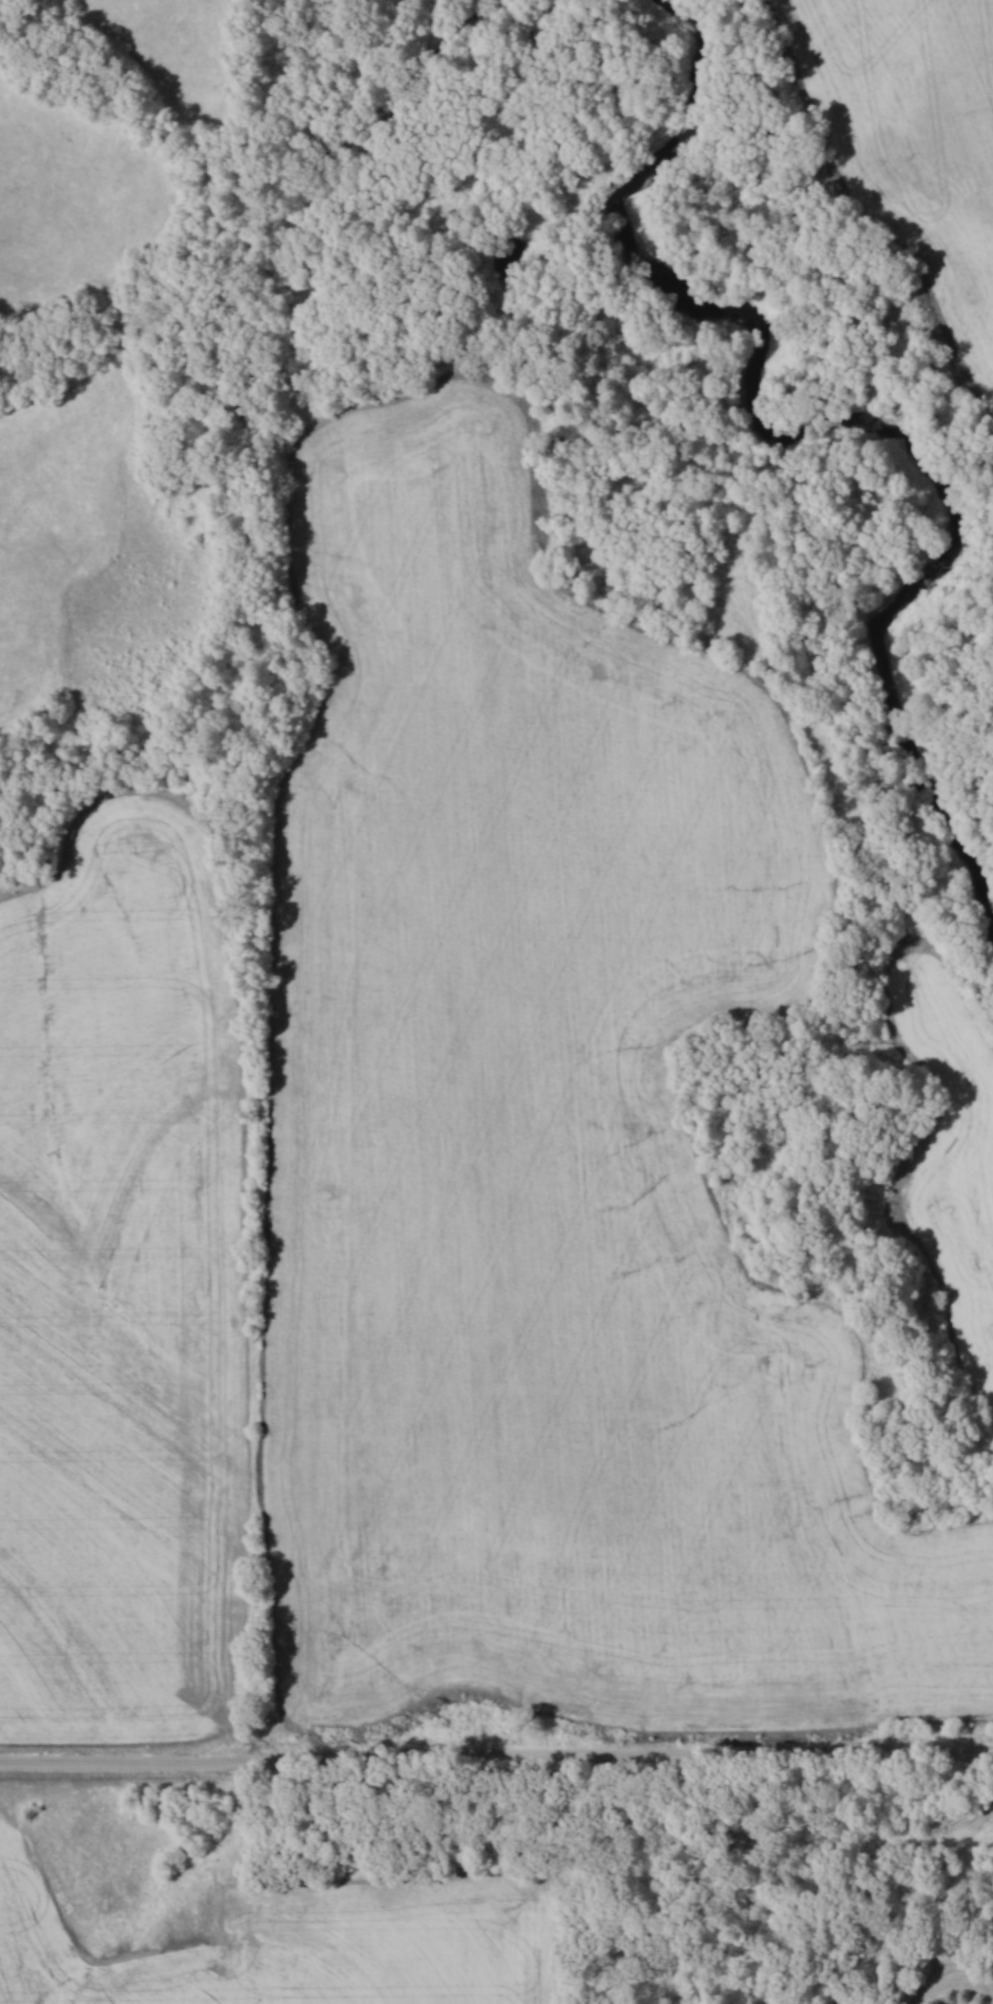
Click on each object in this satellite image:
river: (766, 368)
road: (496, 1755)

